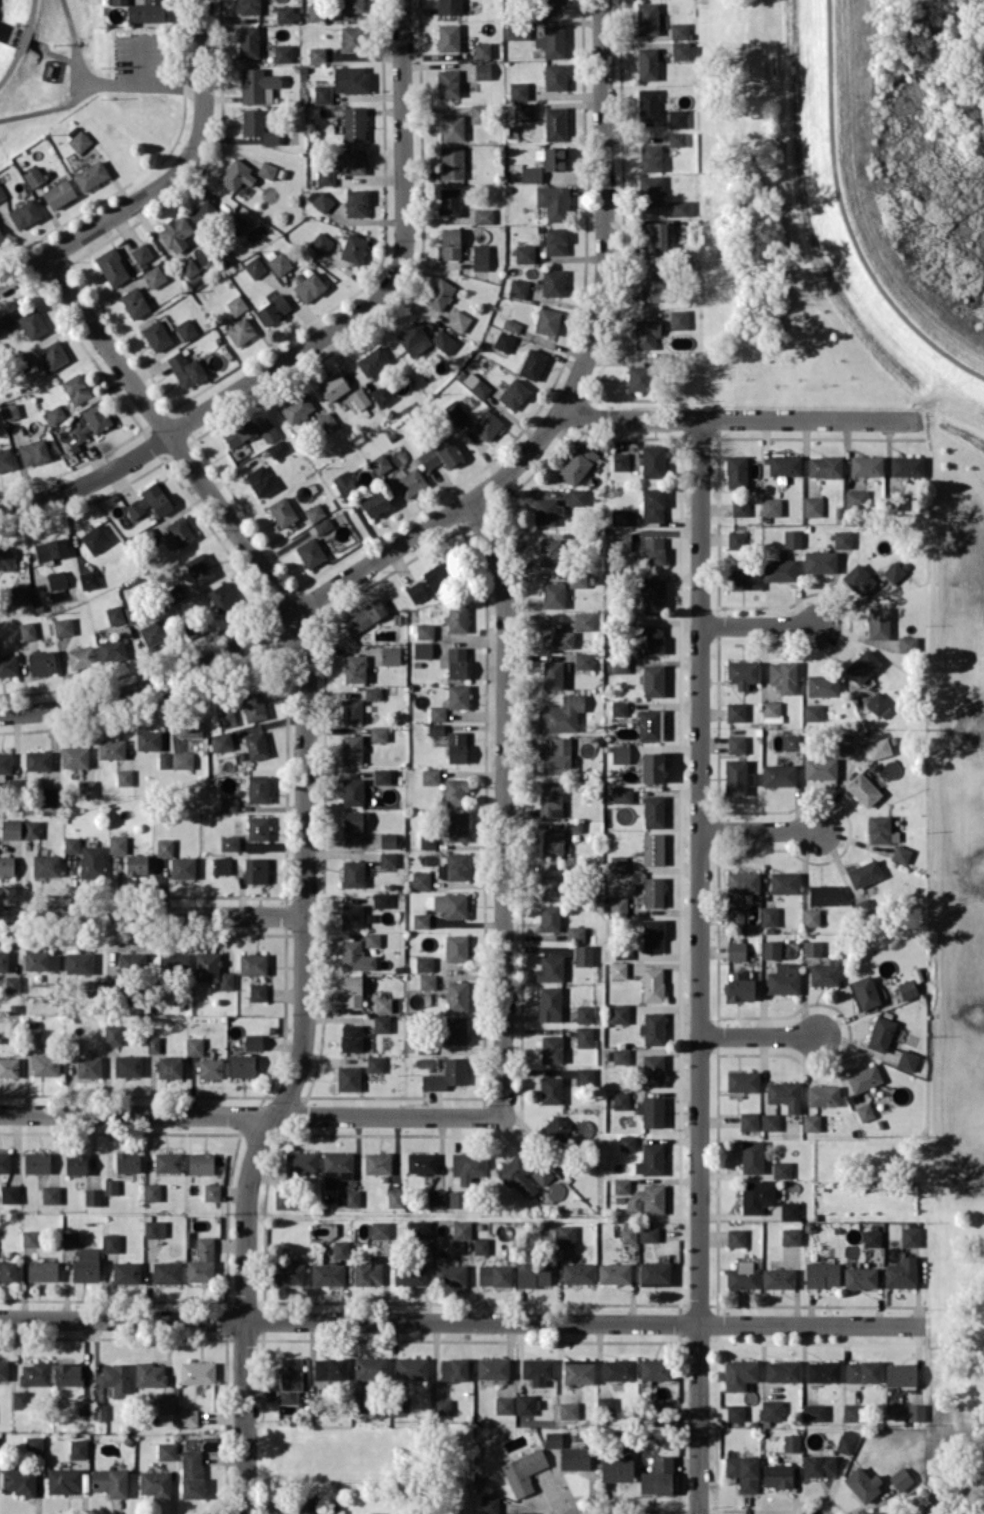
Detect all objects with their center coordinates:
building: (119, 2)
building: (353, 6)
building: (547, 6)
building: (249, 7)
building: (449, 7)
building: (146, 11)
building: (315, 12)
building: (286, 14)
building: (647, 18)
building: (517, 30)
building: (679, 30)
river: (22, 36)
building: (447, 37)
building: (350, 38)
building: (248, 41)
building: (551, 41)
road: (22, 43)
building: (482, 49)
building: (682, 51)
building: (282, 53)
building: (316, 53)
parking lot: (140, 58)
building: (647, 63)
building: (482, 70)
building: (555, 76)
building: (350, 78)
road: (108, 81)
building: (447, 83)
building: (256, 84)
road: (167, 87)
road: (83, 88)
building: (518, 90)
building: (322, 94)
building: (647, 104)
building: (523, 111)
building: (477, 113)
building: (676, 118)
building: (555, 123)
building: (354, 124)
building: (257, 126)
building: (452, 127)
building: (676, 138)
building: (79, 141)
building: (551, 157)
building: (650, 157)
building: (353, 161)
road: (182, 162)
building: (451, 162)
building: (267, 170)
building: (530, 174)
building: (90, 175)
building: (237, 175)
building: (33, 176)
building: (324, 177)
building: (650, 190)
building: (2, 193)
building: (59, 193)
building: (319, 199)
building: (449, 201)
building: (553, 201)
building: (356, 202)
building: (681, 208)
building: (204, 212)
building: (24, 214)
road: (847, 214)
building: (483, 215)
building: (236, 223)
building: (176, 232)
building: (1, 236)
building: (653, 238)
building: (555, 241)
park: (820, 241)
building: (320, 243)
building: (450, 243)
building: (353, 248)
building: (141, 253)
building: (524, 253)
building: (480, 257)
building: (279, 263)
building: (111, 266)
building: (255, 266)
building: (189, 267)
road: (23, 270)
building: (154, 276)
building: (553, 282)
building: (652, 283)
building: (308, 285)
building: (518, 288)
building: (440, 294)
building: (134, 302)
building: (236, 304)
building: (273, 309)
building: (678, 319)
building: (459, 320)
building: (547, 320)
building: (6, 323)
building: (32, 323)
building: (511, 325)
building: (185, 329)
building: (240, 331)
building: (646, 333)
road: (324, 334)
building: (156, 335)
building: (423, 338)
building: (503, 342)
building: (53, 354)
building: (373, 360)
building: (532, 364)
building: (186, 369)
building: (638, 378)
building: (476, 384)
building: (333, 386)
building: (76, 388)
building: (514, 393)
building: (382, 394)
building: (359, 398)
building: (297, 408)
building: (11, 410)
building: (455, 411)
building: (55, 414)
road: (737, 418)
building: (327, 421)
building: (91, 423)
building: (486, 424)
building: (239, 431)
building: (268, 432)
building: (277, 449)
building: (34, 452)
building: (440, 454)
building: (6, 459)
building: (620, 461)
building: (652, 461)
building: (380, 463)
building: (578, 463)
building: (865, 465)
building: (906, 465)
building: (783, 466)
building: (824, 466)
building: (260, 480)
building: (410, 482)
building: (737, 484)
road: (479, 493)
building: (855, 498)
building: (150, 501)
building: (375, 503)
building: (652, 504)
building: (771, 506)
building: (812, 506)
building: (282, 511)
building: (546, 511)
building: (315, 512)
building: (620, 516)
building: (323, 525)
building: (180, 531)
building: (95, 538)
building: (792, 538)
building: (735, 539)
building: (842, 539)
building: (621, 541)
building: (51, 548)
building: (652, 550)
building: (310, 552)
building: (548, 552)
building: (7, 559)
building: (819, 562)
building: (200, 567)
building: (778, 569)
building: (893, 572)
building: (438, 575)
building: (577, 578)
building: (742, 578)
building: (57, 579)
building: (88, 579)
building: (858, 579)
building: (416, 591)
building: (19, 594)
building: (653, 594)
building: (553, 595)
building: (222, 596)
building: (115, 614)
building: (364, 616)
building: (457, 617)
building: (583, 620)
building: (878, 622)
road: (758, 624)
building: (63, 626)
building: (28, 630)
building: (425, 631)
building: (152, 632)
building: (555, 636)
building: (651, 638)
building: (907, 643)
building: (112, 649)
building: (422, 650)
building: (390, 655)
building: (81, 657)
building: (583, 660)
building: (42, 662)
building: (455, 662)
building: (8, 665)
building: (620, 666)
building: (862, 666)
building: (354, 668)
building: (742, 673)
building: (552, 674)
building: (783, 676)
building: (653, 680)
building: (823, 685)
building: (372, 693)
building: (457, 696)
building: (876, 702)
building: (253, 706)
building: (618, 708)
building: (351, 710)
building: (736, 711)
building: (771, 711)
building: (812, 712)
building: (437, 713)
building: (562, 714)
building: (226, 717)
building: (649, 724)
building: (189, 726)
building: (435, 728)
building: (378, 734)
building: (148, 740)
building: (222, 741)
building: (792, 741)
building: (843, 742)
building: (736, 744)
building: (255, 745)
building: (456, 746)
building: (111, 748)
building: (878, 748)
building: (351, 749)
building: (620, 754)
building: (74, 756)
building: (558, 756)
building: (164, 759)
building: (182, 759)
building: (37, 760)
building: (5, 762)
building: (652, 766)
building: (819, 768)
building: (778, 775)
building: (381, 776)
building: (429, 776)
building: (124, 777)
building: (737, 777)
building: (86, 788)
building: (258, 788)
building: (862, 789)
building: (352, 791)
building: (455, 791)
building: (621, 794)
building: (48, 796)
building: (550, 798)
building: (228, 803)
road: (504, 804)
building: (653, 811)
building: (353, 826)
building: (457, 826)
building: (573, 826)
building: (258, 827)
building: (11, 828)
building: (31, 829)
road: (757, 829)
building: (880, 829)
building: (388, 840)
building: (427, 841)
building: (229, 843)
building: (552, 843)
building: (71, 844)
building: (117, 844)
building: (164, 847)
building: (653, 848)
road: (305, 851)
building: (901, 853)
building: (388, 859)
building: (92, 860)
building: (618, 863)
building: (137, 864)
building: (46, 865)
building: (220, 865)
building: (6, 866)
building: (182, 867)
building: (454, 867)
building: (256, 870)
building: (353, 873)
building: (864, 873)
building: (420, 880)
building: (742, 882)
building: (784, 882)
building: (552, 886)
building: (653, 891)
building: (823, 895)
building: (381, 899)
building: (451, 904)
building: (618, 906)
road: (152, 914)
building: (352, 915)
building: (769, 915)
building: (734, 916)
building: (549, 917)
building: (810, 917)
building: (420, 920)
building: (575, 933)
building: (652, 935)
building: (371, 939)
building: (457, 947)
building: (811, 948)
building: (770, 949)
building: (735, 950)
building: (582, 955)
building: (355, 956)
building: (3, 960)
building: (41, 960)
building: (174, 961)
building: (79, 962)
building: (130, 962)
building: (252, 963)
building: (424, 963)
road: (699, 965)
building: (550, 969)
building: (618, 969)
building: (212, 970)
building: (824, 974)
building: (783, 978)
building: (427, 981)
building: (13, 983)
building: (652, 984)
building: (739, 986)
building: (907, 988)
building: (257, 991)
building: (351, 991)
building: (864, 992)
building: (456, 995)
building: (549, 1003)
building: (382, 1004)
building: (583, 1013)
building: (619, 1013)
building: (381, 1023)
building: (652, 1028)
building: (456, 1029)
building: (880, 1033)
building: (113, 1034)
road: (759, 1034)
building: (584, 1036)
building: (351, 1037)
building: (253, 1041)
building: (153, 1044)
building: (194, 1045)
building: (551, 1048)
building: (620, 1056)
building: (907, 1060)
building: (374, 1063)
building: (46, 1065)
building: (127, 1065)
building: (242, 1065)
building: (9, 1066)
building: (88, 1067)
building: (170, 1067)
building: (210, 1068)
building: (652, 1070)
building: (584, 1074)
building: (446, 1075)
building: (348, 1077)
building: (864, 1078)
building: (742, 1081)
building: (550, 1089)
building: (784, 1094)
building: (822, 1095)
building: (620, 1100)
building: (650, 1111)
building: (864, 1111)
road: (250, 1113)
building: (748, 1121)
building: (769, 1121)
building: (811, 1122)
building: (556, 1129)
building: (627, 1142)
building: (751, 1156)
building: (650, 1159)
building: (168, 1161)
building: (301, 1161)
building: (4, 1162)
building: (37, 1162)
building: (128, 1162)
building: (377, 1162)
building: (421, 1162)
building: (76, 1163)
building: (200, 1163)
building: (468, 1165)
building: (336, 1167)
building: (781, 1169)
building: (542, 1174)
building: (516, 1176)
building: (621, 1185)
building: (111, 1186)
building: (152, 1191)
building: (211, 1191)
building: (9, 1193)
building: (51, 1194)
building: (92, 1196)
building: (756, 1196)
building: (394, 1197)
building: (347, 1198)
building: (436, 1198)
building: (457, 1198)
building: (284, 1199)
building: (646, 1199)
building: (789, 1210)
building: (154, 1228)
building: (380, 1229)
building: (421, 1229)
building: (461, 1229)
building: (628, 1233)
building: (649, 1233)
building: (565, 1234)
building: (790, 1236)
building: (909, 1236)
building: (735, 1237)
building: (871, 1237)
building: (29, 1238)
building: (70, 1239)
building: (111, 1242)
building: (480, 1245)
building: (340, 1249)
building: (201, 1261)
building: (86, 1265)
building: (8, 1270)
building: (43, 1270)
building: (368, 1271)
building: (126, 1272)
building: (166, 1272)
building: (578, 1273)
building: (614, 1273)
building: (653, 1273)
building: (901, 1273)
building: (287, 1274)
building: (328, 1274)
building: (448, 1274)
building: (533, 1274)
building: (821, 1274)
building: (409, 1275)
building: (495, 1275)
building: (742, 1275)
building: (860, 1277)
building: (778, 1278)
road: (461, 1320)
building: (370, 1367)
building: (411, 1367)
building: (330, 1368)
building: (492, 1368)
building: (655, 1368)
building: (4, 1369)
building: (453, 1369)
building: (618, 1369)
building: (537, 1370)
building: (782, 1370)
building: (578, 1371)
building: (823, 1371)
building: (863, 1371)
building: (197, 1372)
building: (35, 1373)
building: (739, 1373)
building: (68, 1374)
building: (149, 1374)
building: (900, 1374)
building: (116, 1378)
building: (289, 1380)
building: (21, 1398)
building: (359, 1403)
building: (166, 1404)
building: (503, 1404)
building: (525, 1404)
building: (400, 1405)
building: (441, 1406)
building: (84, 1407)
building: (771, 1409)
building: (100, 1411)
building: (735, 1412)
building: (813, 1412)
building: (851, 1412)
building: (915, 1412)
building: (187, 1417)
building: (553, 1439)
building: (791, 1442)
building: (846, 1442)
building: (34, 1445)
building: (78, 1448)
building: (166, 1451)
building: (574, 1458)
building: (818, 1465)
building: (617, 1468)
building: (523, 1471)
building: (743, 1471)
building: (192, 1473)
building: (777, 1475)
building: (657, 1476)
building: (900, 1478)
building: (64, 1480)
building: (19, 1481)
building: (110, 1481)
building: (154, 1483)
building: (862, 1483)
building: (306, 1505)
building: (489, 1505)
building: (877, 1512)
building: (520, 1513)

